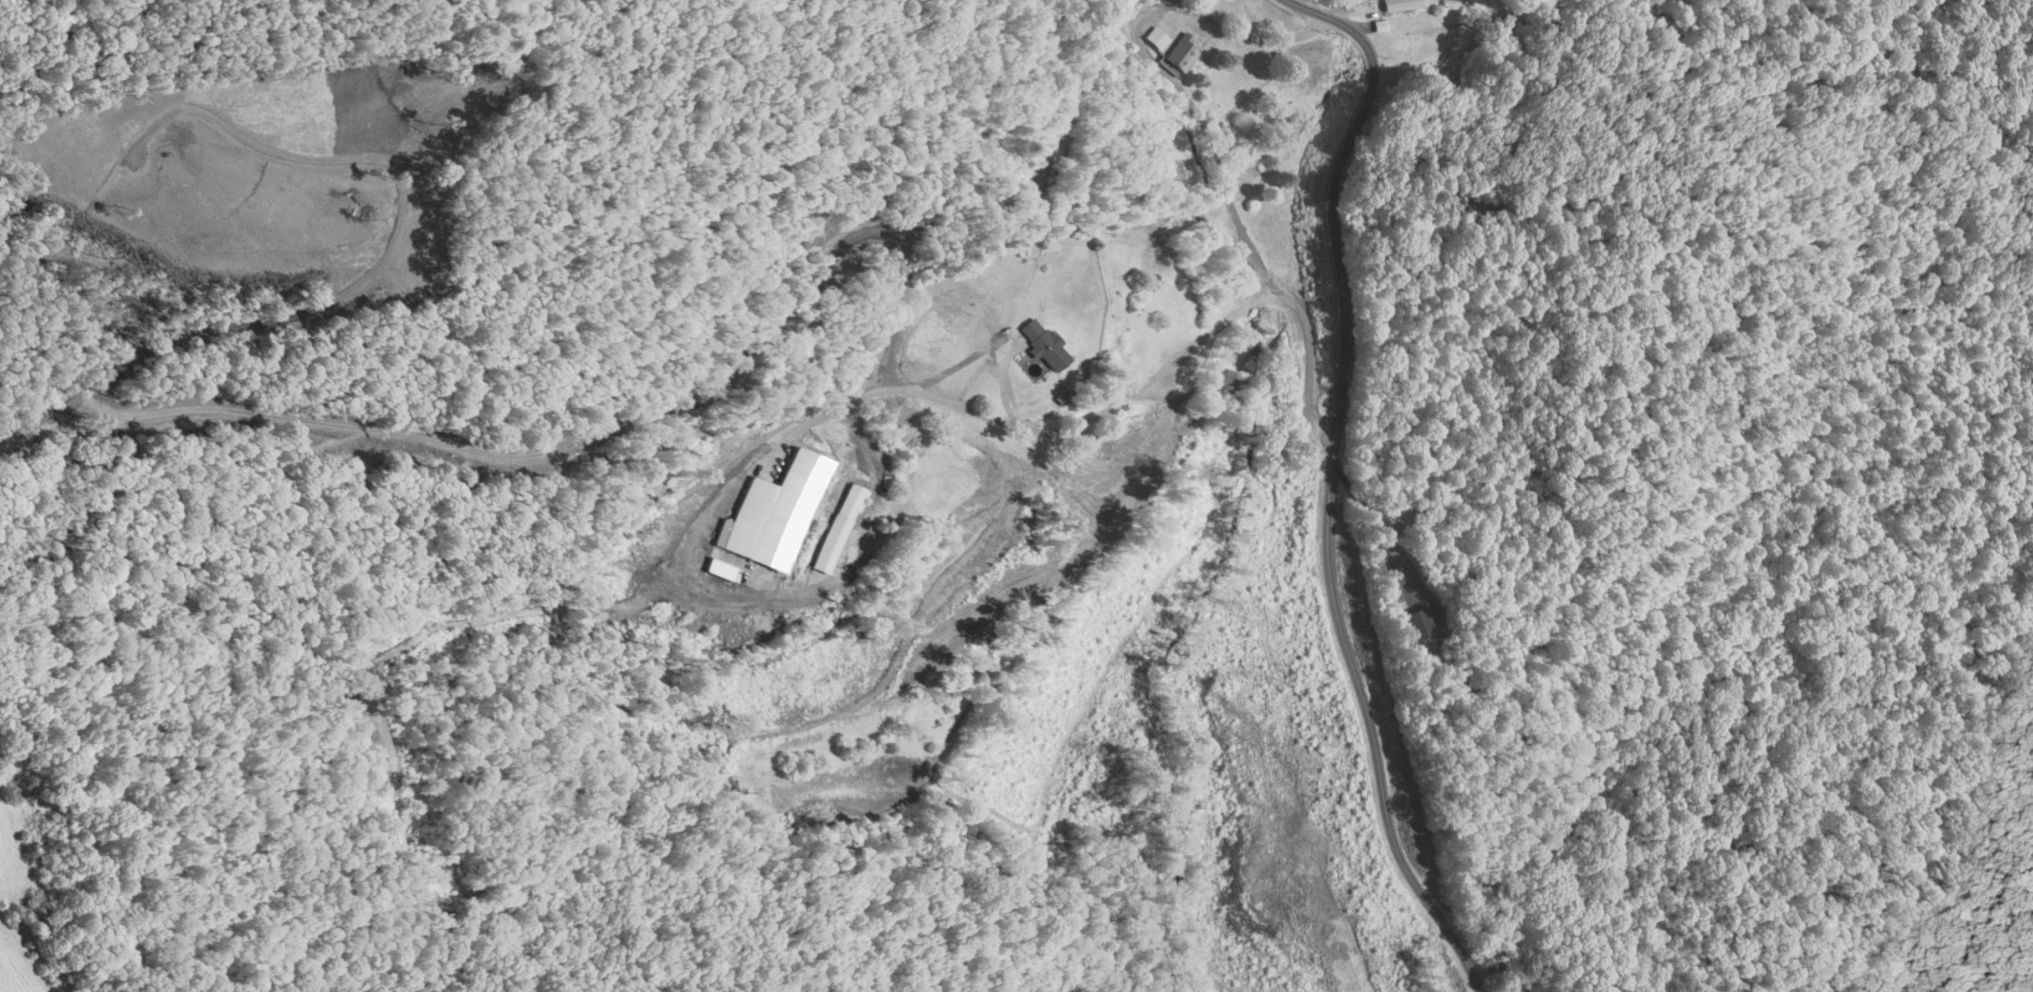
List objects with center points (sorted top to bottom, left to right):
building: (1405, 5)
building: (1157, 38)
building: (1183, 55)
road: (1211, 135)
building: (1040, 345)
road: (1003, 383)
road: (799, 429)
road: (1336, 488)
building: (850, 500)
road: (1380, 527)
building: (833, 534)

